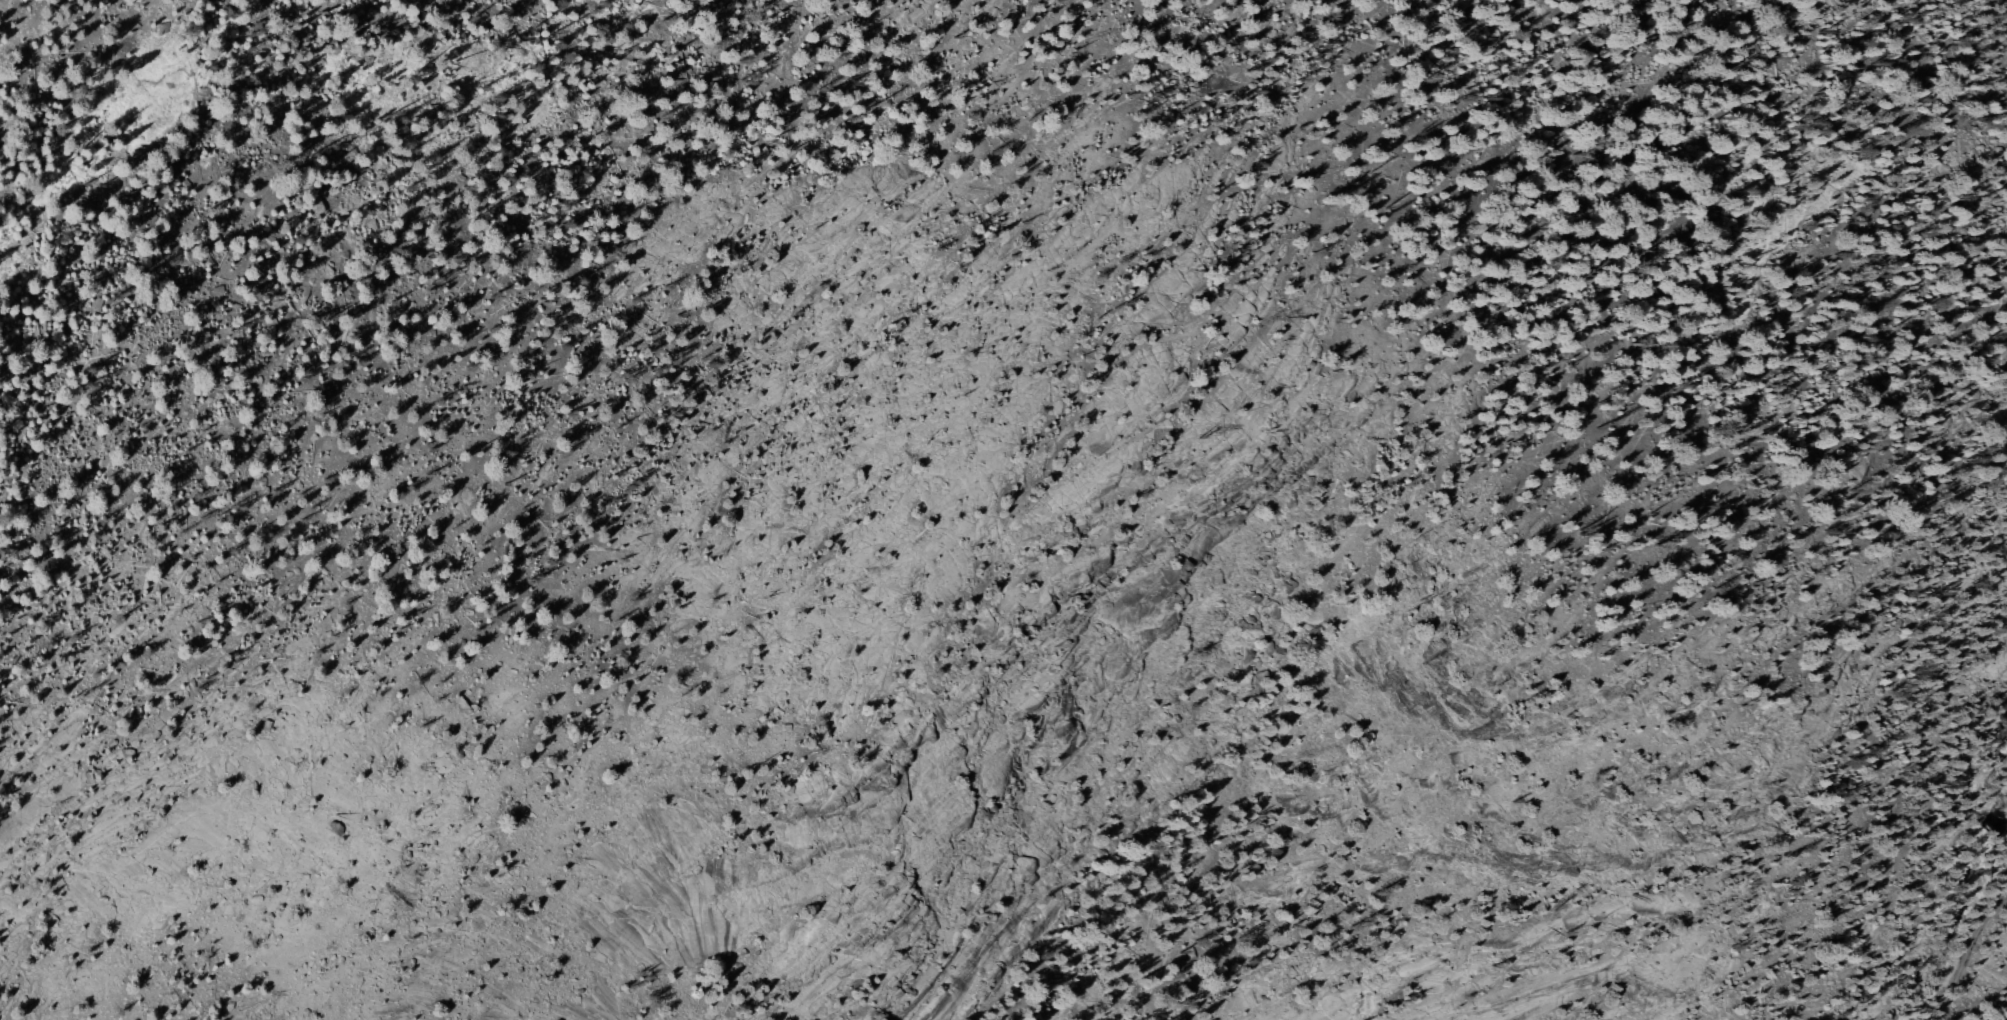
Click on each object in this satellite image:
road: (1966, 954)

